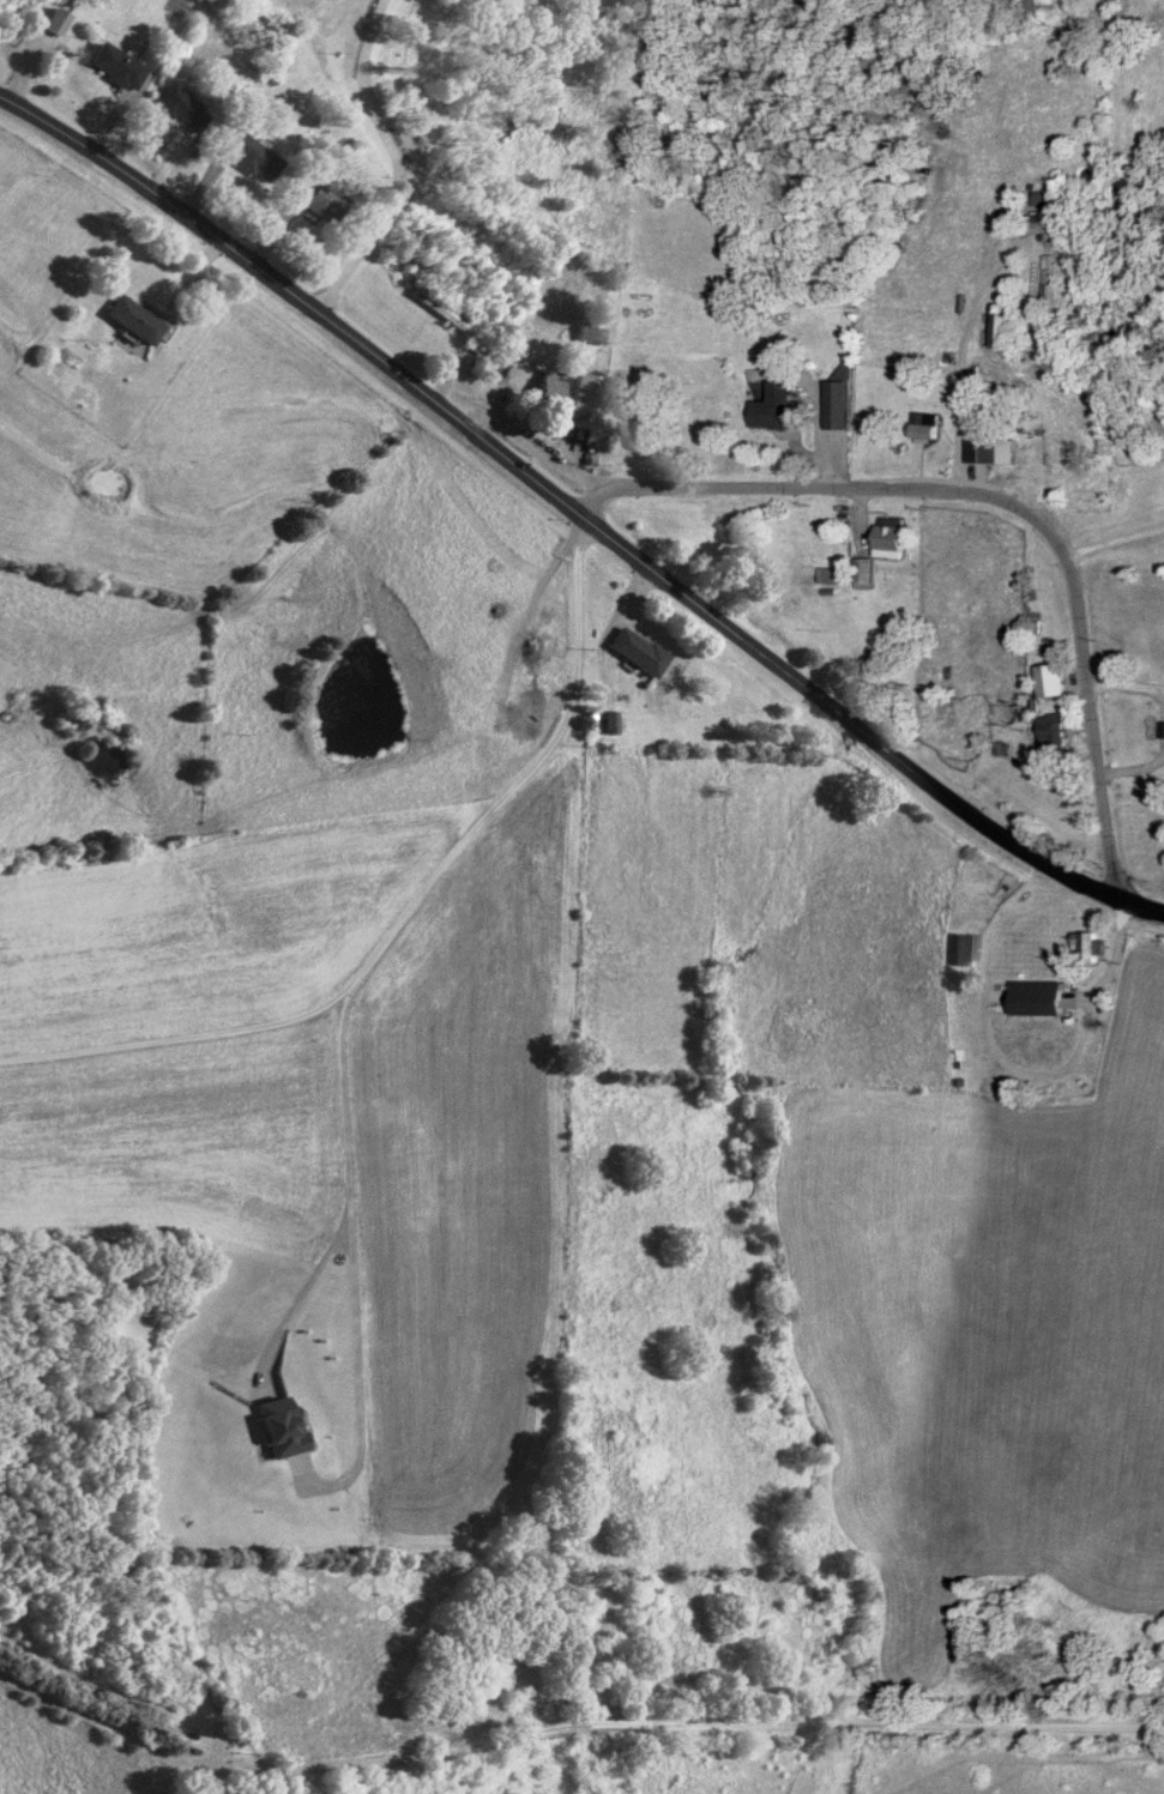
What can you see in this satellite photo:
building: (54, 22)
building: (115, 67)
building: (182, 109)
building: (253, 158)
road: (392, 161)
building: (1038, 199)
building: (315, 200)
building: (438, 309)
building: (133, 320)
building: (1005, 331)
building: (590, 334)
road: (958, 372)
building: (549, 385)
building: (584, 401)
building: (834, 405)
building: (776, 407)
building: (924, 427)
building: (982, 451)
road: (1005, 501)
road: (579, 511)
road: (1114, 538)
building: (888, 542)
building: (863, 573)
building: (635, 652)
building: (988, 713)
building: (1050, 730)
road: (406, 908)
building: (1087, 948)
building: (965, 950)
building: (1035, 998)
road: (1003, 1064)
road: (348, 1273)
road: (295, 1294)
building: (632, 1699)
road: (876, 1732)
road: (287, 1768)

